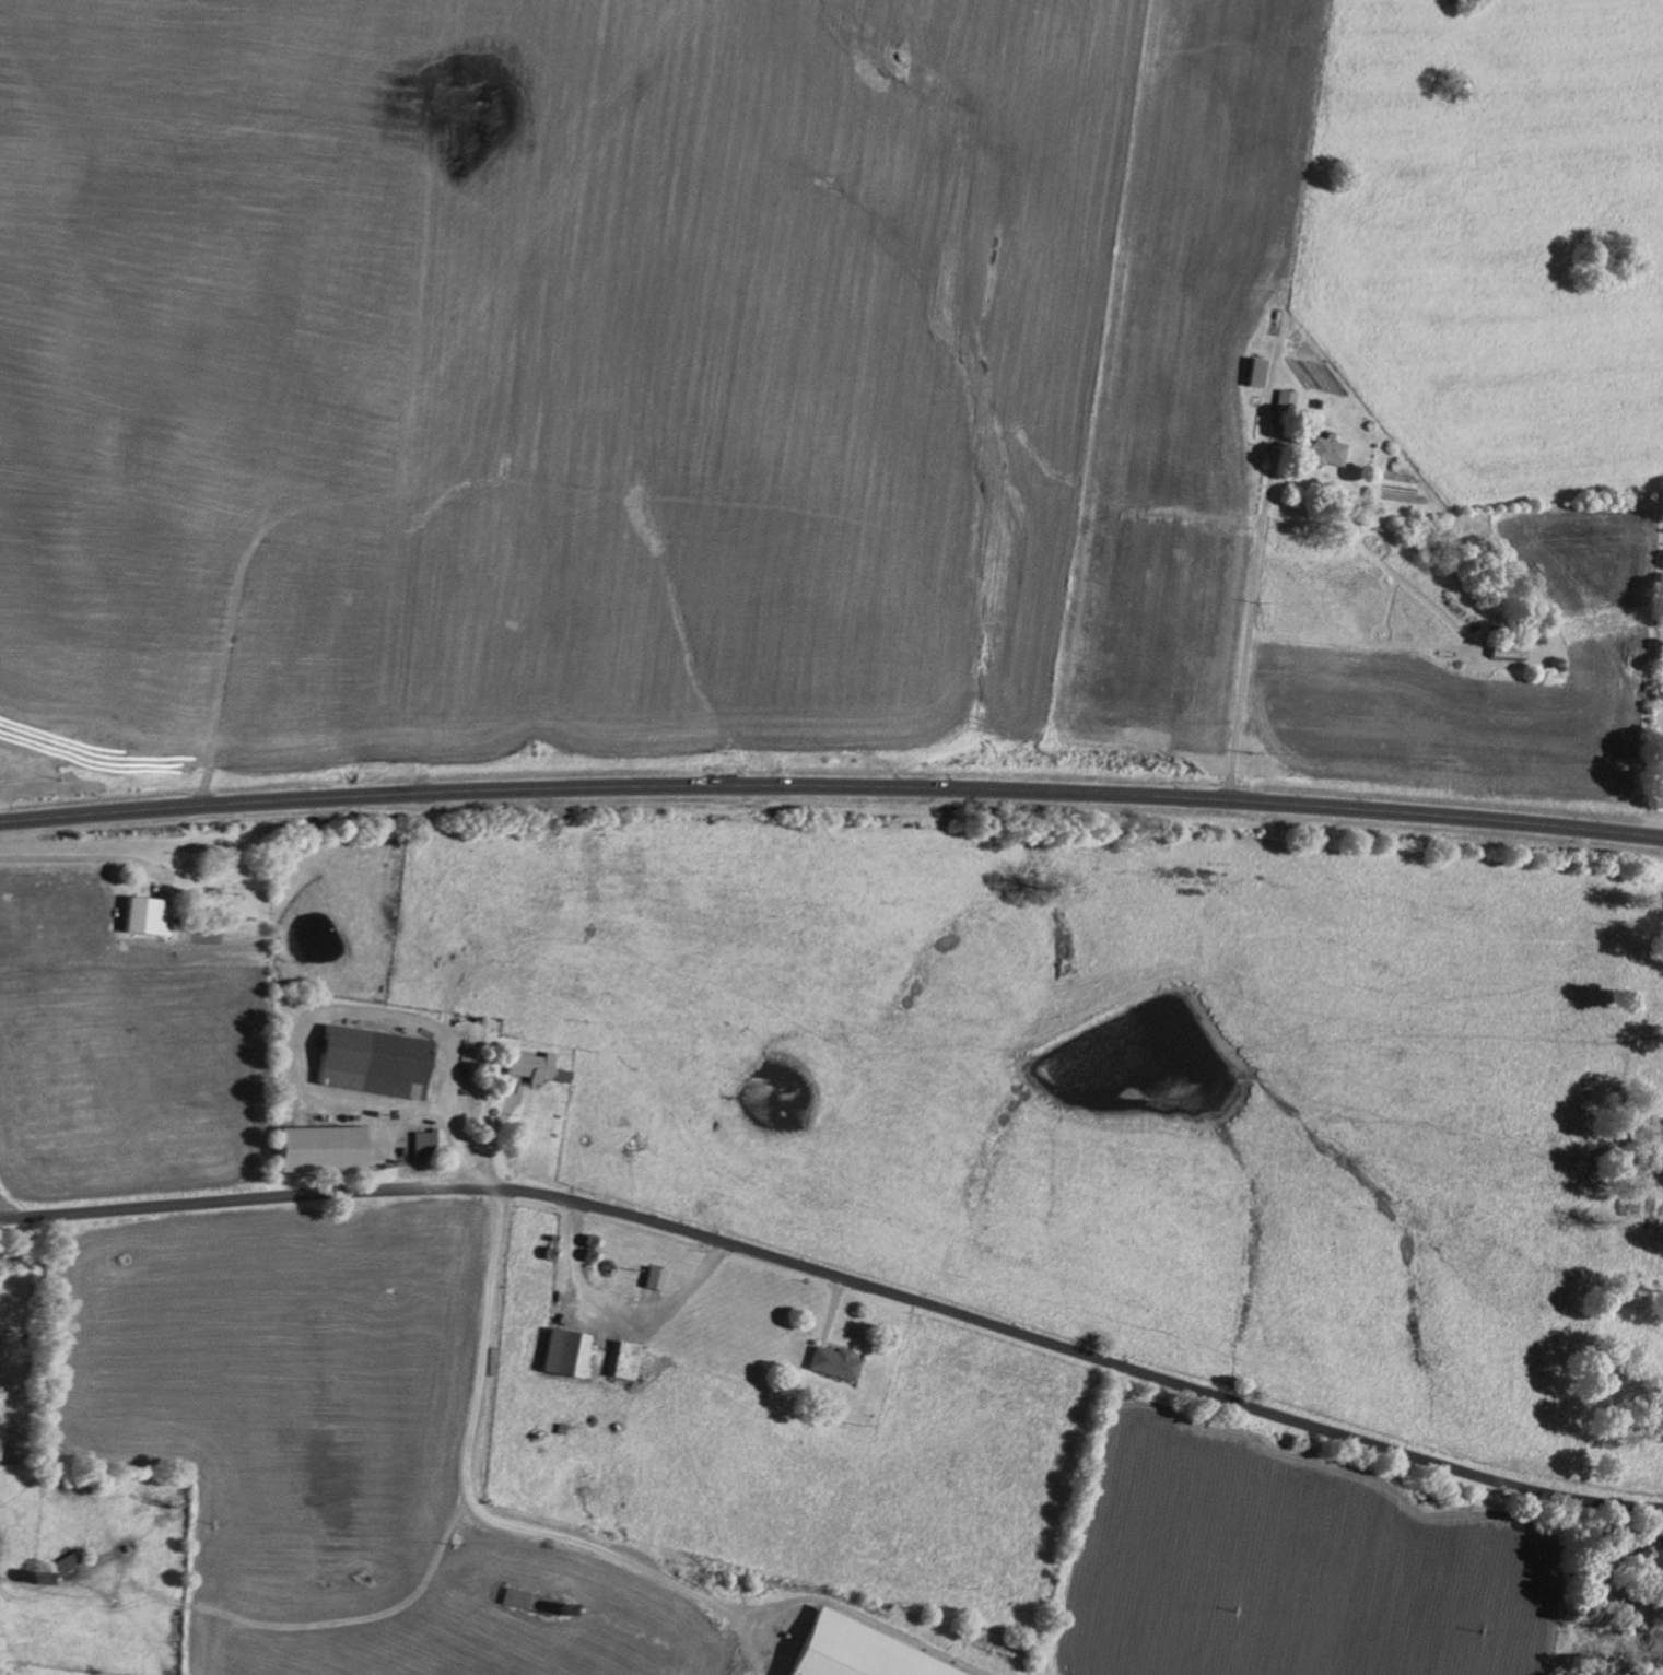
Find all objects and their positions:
building: (1258, 372)
building: (1331, 450)
road: (1251, 621)
building: (1508, 648)
road: (831, 786)
building: (224, 899)
building: (147, 916)
road: (344, 1011)
building: (374, 1062)
building: (531, 1066)
building: (426, 1145)
building: (321, 1149)
road: (0, 1219)
road: (0, 1222)
road: (841, 1277)
building: (656, 1278)
road: (624, 1305)
building: (570, 1355)
building: (628, 1361)
building: (835, 1363)
road: (483, 1516)
building: (67, 1563)
building: (858, 1652)

